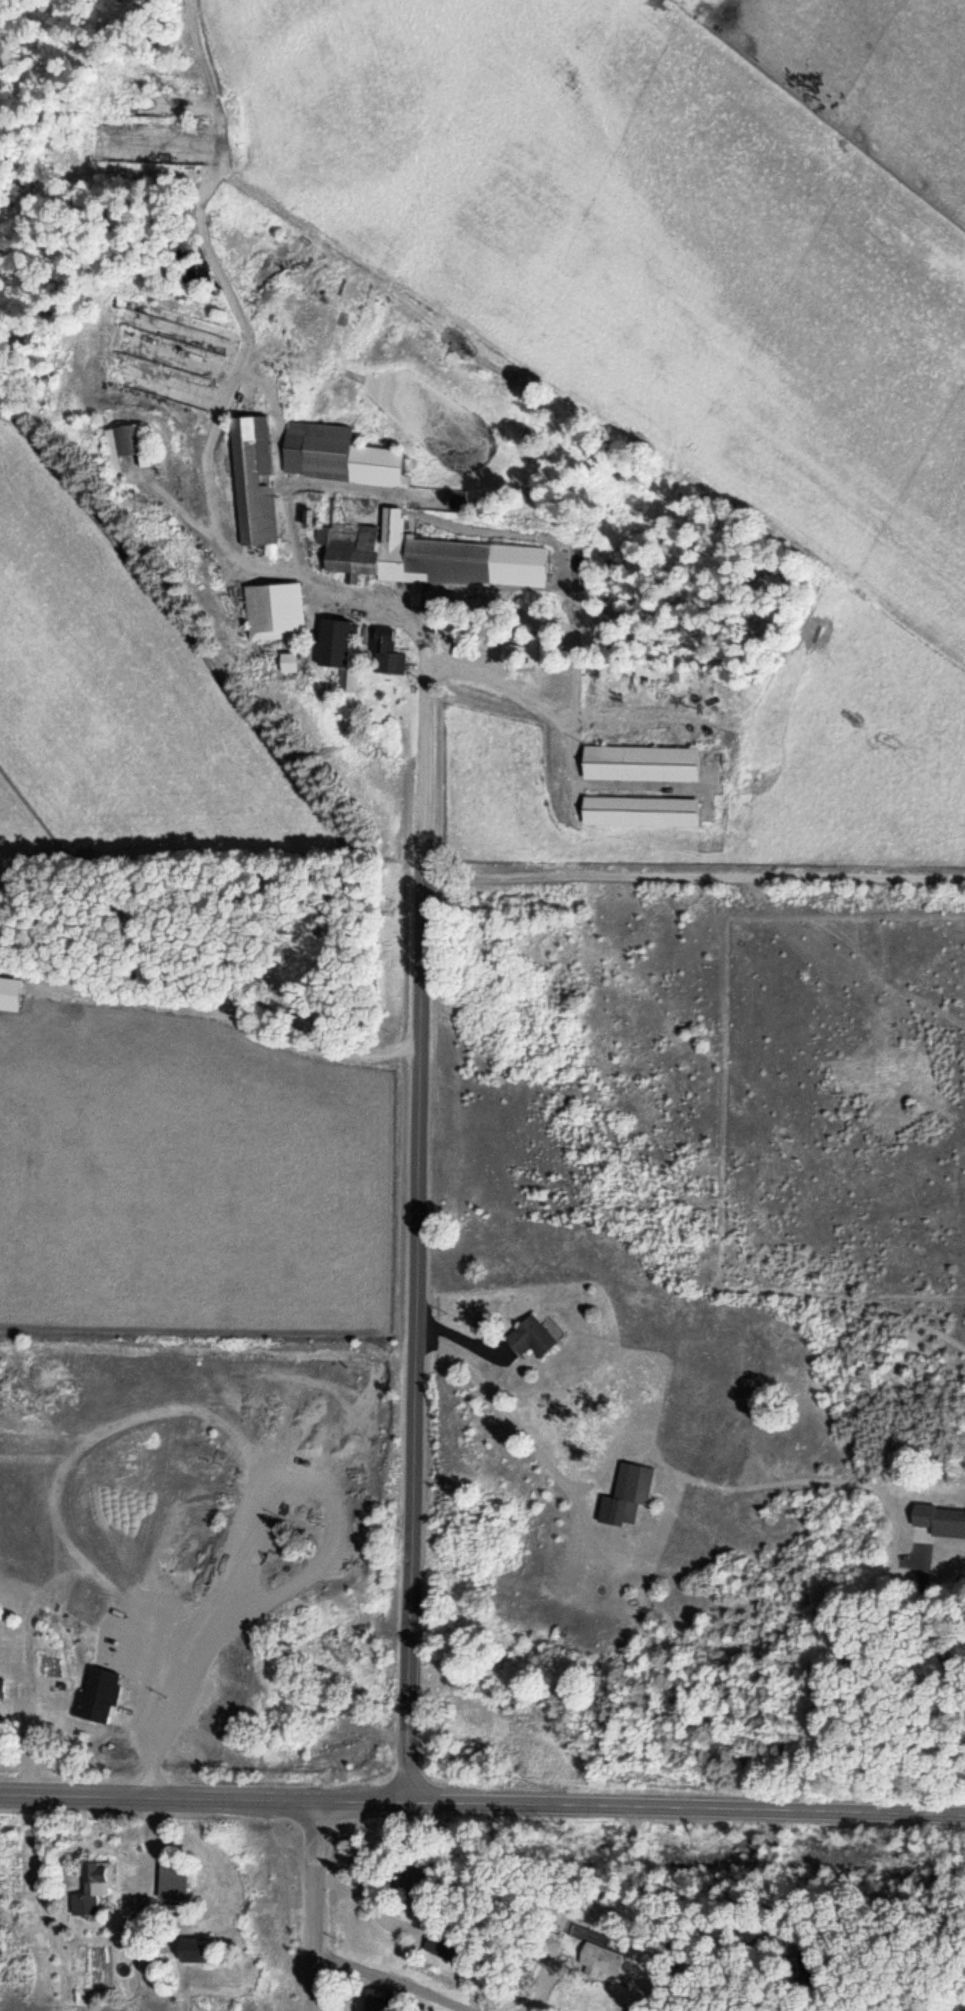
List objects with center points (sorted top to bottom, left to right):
road: (595, 399)
building: (126, 445)
building: (337, 454)
road: (279, 461)
building: (252, 478)
building: (684, 479)
road: (208, 492)
building: (428, 554)
building: (273, 610)
building: (334, 641)
building: (527, 648)
building: (385, 652)
building: (286, 661)
road: (536, 699)
road: (564, 752)
building: (639, 762)
building: (638, 810)
road: (692, 874)
building: (9, 992)
building: (529, 1335)
road: (416, 1339)
building: (626, 1491)
building: (127, 1653)
building: (1, 1688)
building: (95, 1696)
road: (482, 1803)
building: (414, 1875)
building: (171, 1878)
building: (91, 1886)
road: (317, 1906)
building: (436, 1941)
building: (193, 1946)
building: (597, 1955)
building: (375, 1998)

